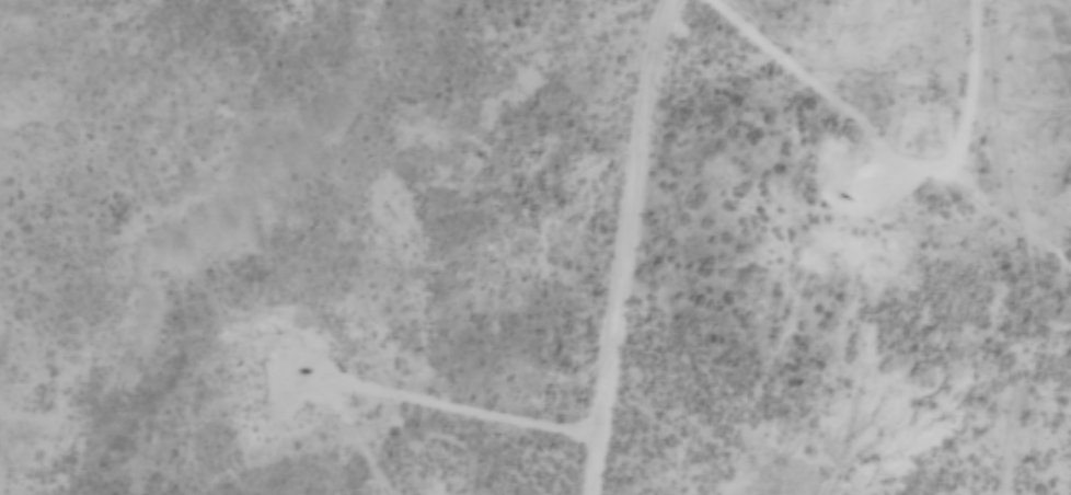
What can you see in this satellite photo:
road: (887, 143)
road: (627, 245)

